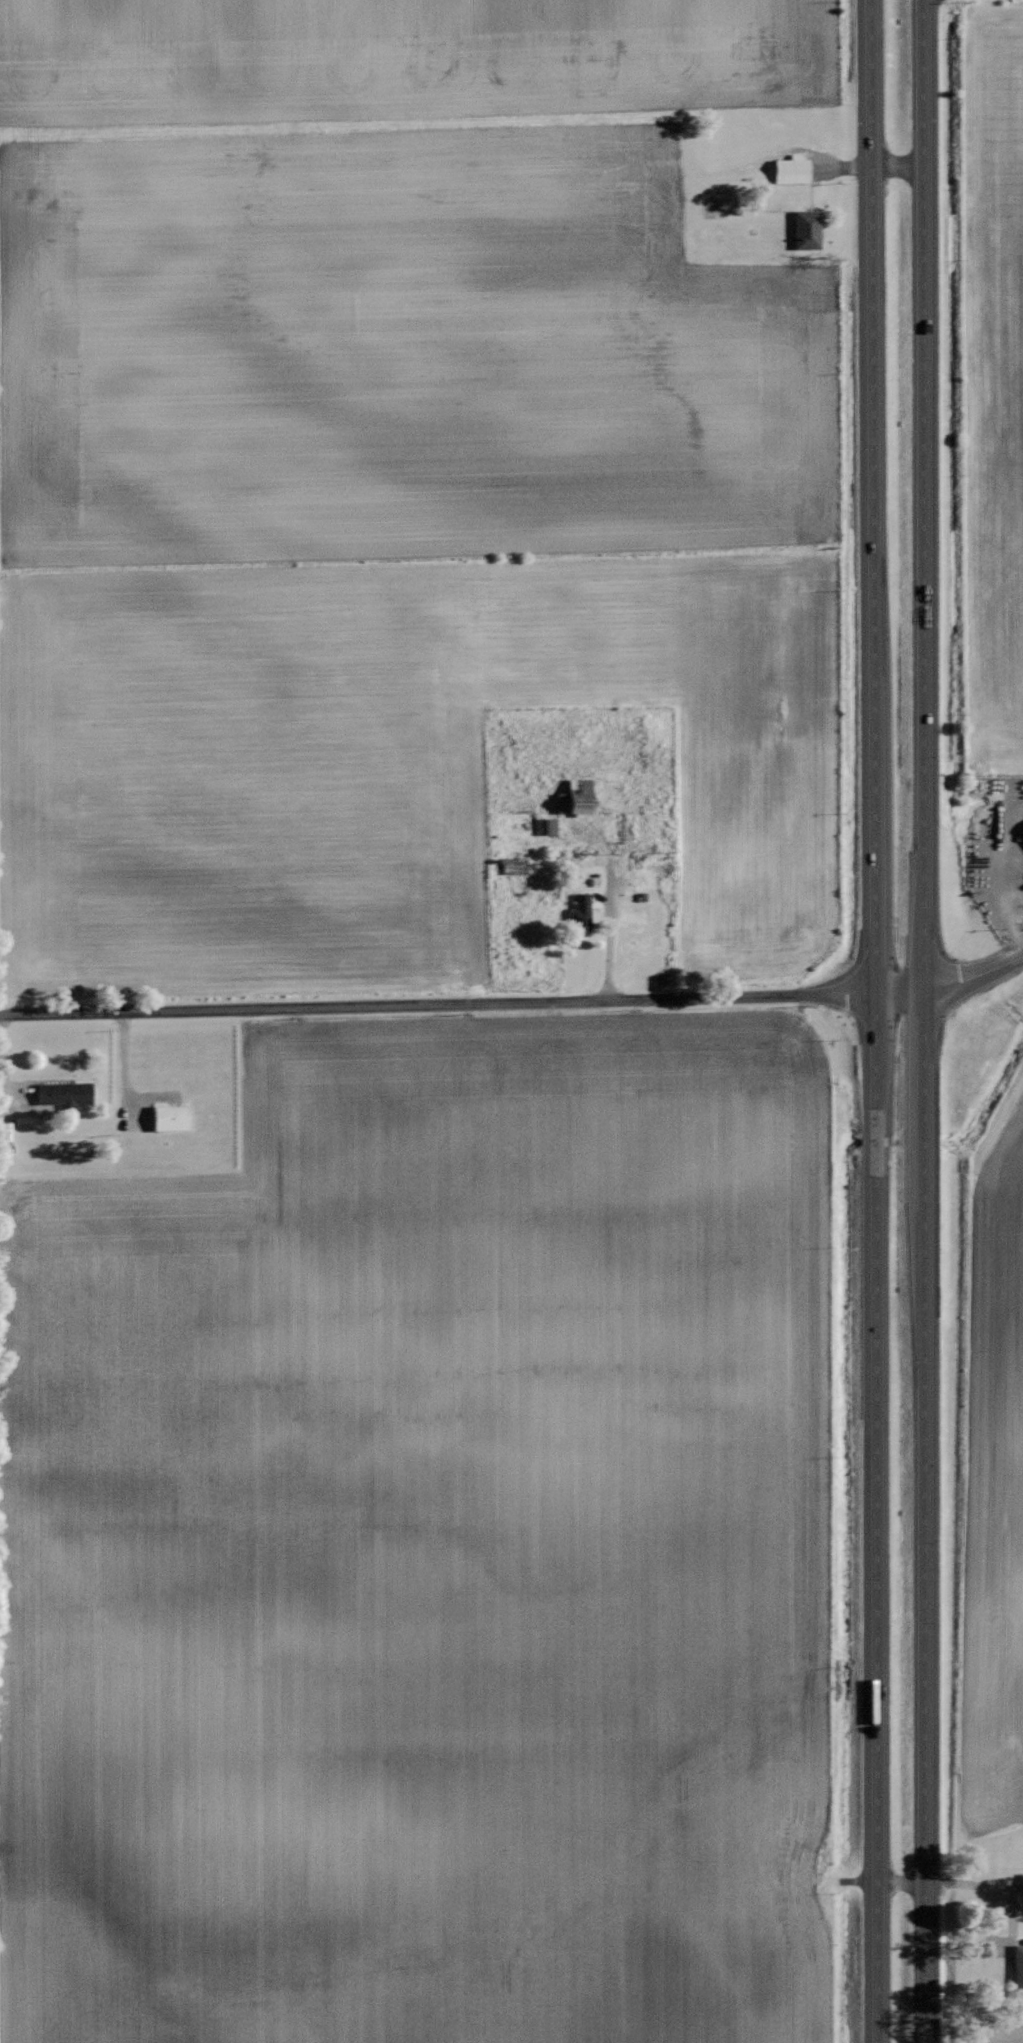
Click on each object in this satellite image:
building: (792, 168)
building: (806, 228)
building: (576, 797)
building: (544, 826)
building: (1022, 829)
building: (580, 913)
road: (950, 983)
road: (436, 1004)
road: (873, 1021)
road: (922, 1021)
building: (64, 1093)
building: (170, 1117)
road: (898, 1880)
road: (985, 1886)
building: (1018, 1969)

